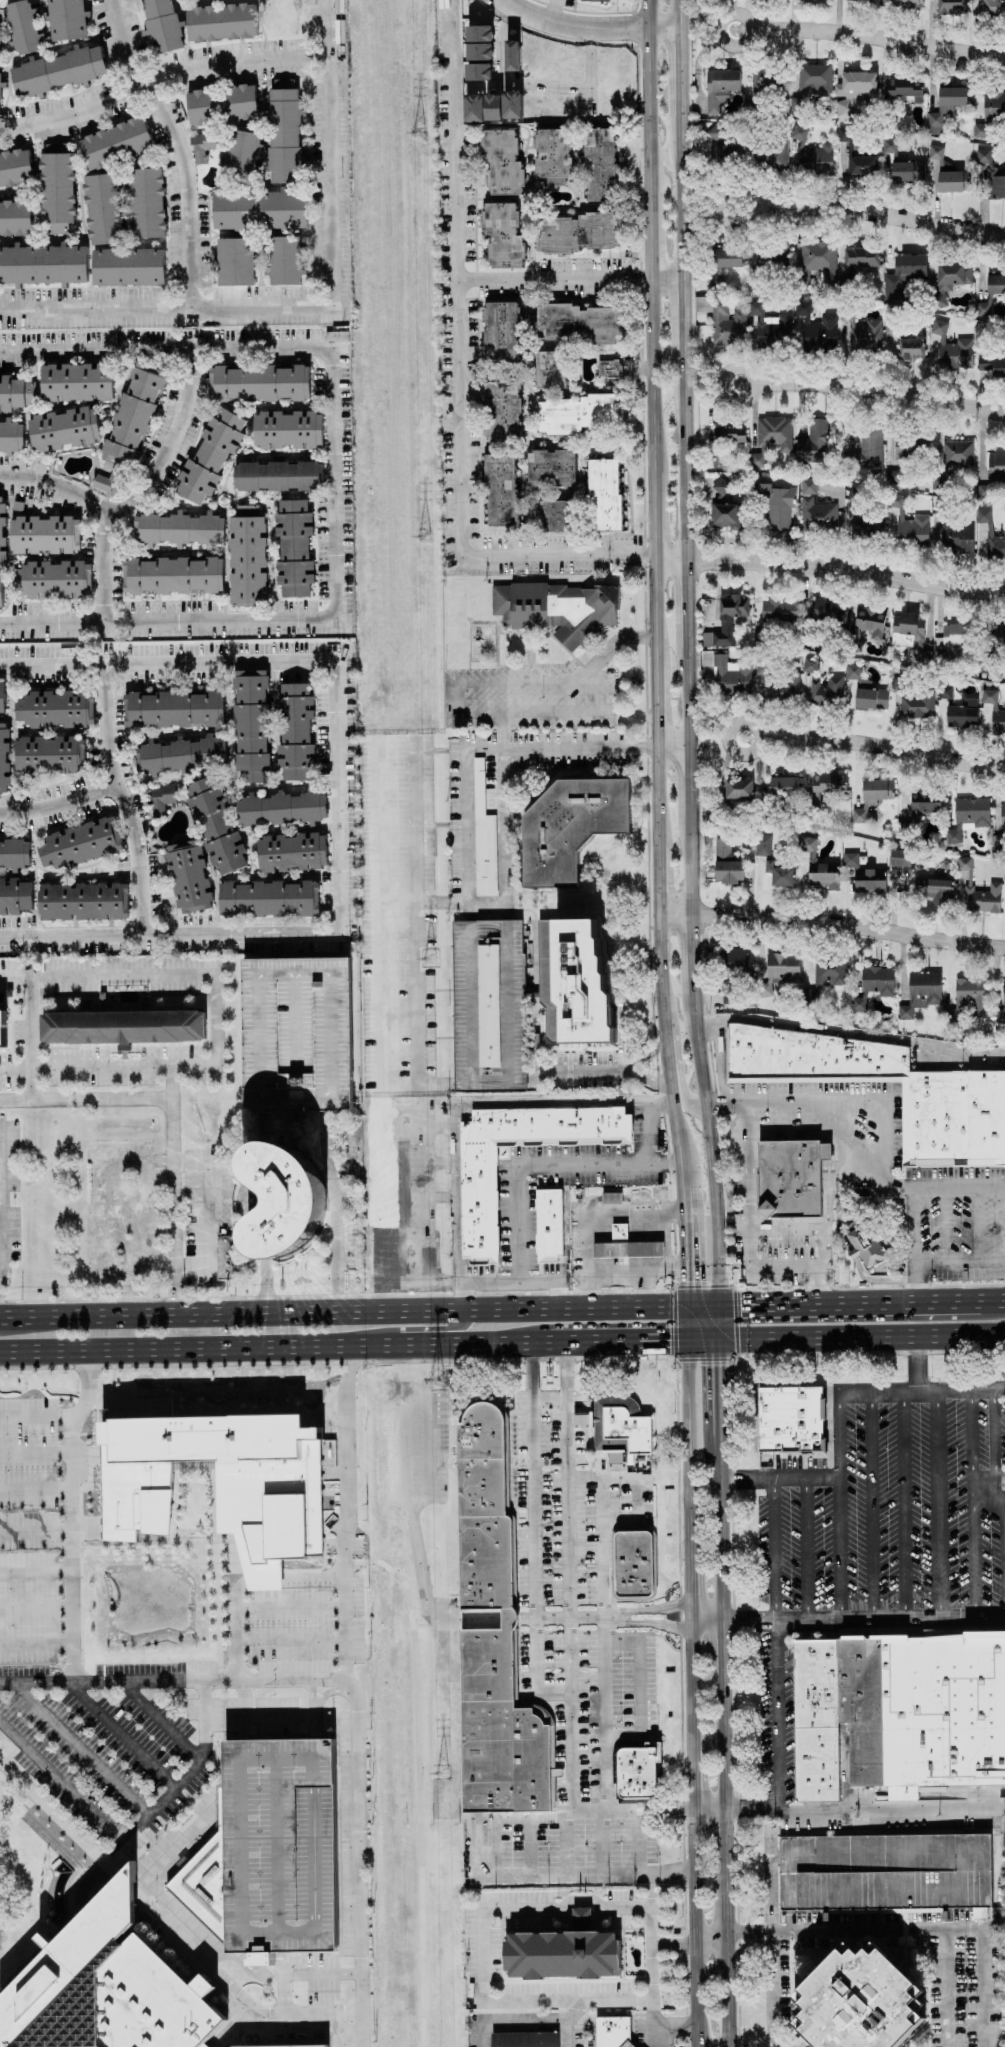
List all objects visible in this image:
building: (595, 0)
building: (862, 1)
building: (907, 3)
building: (952, 6)
building: (993, 9)
building: (66, 19)
building: (221, 22)
building: (162, 25)
building: (22, 27)
road: (588, 28)
road: (747, 28)
building: (479, 33)
road: (877, 37)
building: (480, 51)
building: (512, 55)
building: (58, 70)
building: (478, 71)
building: (0, 72)
road: (160, 78)
building: (767, 79)
building: (814, 79)
road: (532, 83)
building: (904, 87)
building: (719, 88)
building: (853, 90)
building: (221, 104)
building: (492, 106)
building: (946, 106)
building: (284, 132)
building: (798, 132)
power tower: (417, 134)
building: (842, 134)
building: (710, 137)
building: (116, 143)
building: (202, 145)
building: (888, 145)
road: (172, 147)
building: (552, 152)
building: (935, 152)
building: (240, 153)
building: (729, 153)
building: (770, 156)
building: (813, 159)
building: (501, 161)
building: (599, 164)
building: (863, 165)
building: (15, 169)
building: (907, 170)
building: (991, 175)
building: (952, 181)
building: (56, 188)
building: (147, 203)
road: (749, 205)
building: (103, 208)
building: (259, 209)
road: (878, 213)
building: (15, 217)
building: (578, 232)
building: (502, 235)
building: (772, 254)
building: (860, 256)
building: (727, 257)
building: (818, 258)
building: (285, 260)
building: (235, 261)
building: (42, 264)
building: (128, 267)
road: (554, 274)
building: (903, 275)
building: (950, 278)
building: (715, 282)
building: (995, 284)
road: (317, 304)
building: (982, 308)
building: (722, 320)
building: (577, 323)
building: (888, 326)
building: (769, 327)
building: (817, 330)
building: (501, 331)
building: (863, 334)
building: (911, 349)
road: (94, 351)
building: (998, 367)
building: (609, 368)
building: (550, 369)
road: (459, 375)
building: (77, 381)
building: (259, 382)
road: (753, 382)
road: (880, 391)
building: (16, 393)
building: (502, 410)
building: (580, 413)
building: (134, 414)
building: (63, 429)
building: (287, 429)
building: (729, 434)
building: (11, 436)
building: (771, 438)
building: (813, 441)
road: (167, 443)
building: (866, 448)
building: (957, 453)
building: (209, 456)
building: (996, 465)
building: (550, 467)
building: (277, 476)
building: (891, 477)
building: (108, 481)
building: (500, 489)
building: (604, 493)
building: (775, 504)
building: (820, 505)
road: (652, 509)
road: (103, 514)
building: (554, 515)
building: (725, 515)
building: (982, 515)
building: (872, 527)
building: (906, 527)
road: (331, 528)
building: (178, 529)
building: (2, 532)
building: (43, 533)
power tower: (424, 537)
building: (957, 537)
building: (995, 547)
building: (293, 548)
building: (247, 557)
road: (829, 568)
building: (172, 575)
building: (53, 579)
building: (1, 592)
building: (556, 609)
building: (826, 610)
building: (779, 611)
building: (726, 620)
building: (870, 621)
road: (52, 625)
building: (907, 629)
building: (1000, 634)
building: (952, 637)
road: (618, 638)
road: (685, 654)
building: (923, 655)
road: (52, 664)
building: (809, 665)
building: (852, 671)
building: (730, 674)
road: (583, 682)
road: (487, 683)
building: (781, 687)
building: (827, 691)
building: (2, 697)
building: (870, 698)
building: (917, 704)
building: (54, 709)
building: (173, 709)
building: (993, 711)
road: (630, 712)
road: (540, 713)
building: (962, 714)
building: (458, 720)
building: (250, 724)
building: (294, 732)
road: (379, 742)
road: (873, 743)
road: (597, 747)
road: (468, 749)
building: (50, 754)
building: (179, 755)
building: (4, 757)
building: (828, 782)
building: (783, 786)
building: (737, 789)
building: (877, 789)
road: (123, 799)
building: (160, 799)
road: (60, 802)
building: (923, 803)
building: (280, 808)
building: (858, 815)
building: (1002, 815)
building: (967, 817)
building: (215, 824)
building: (569, 827)
building: (483, 837)
building: (80, 843)
building: (807, 844)
building: (763, 847)
road: (337, 851)
building: (291, 852)
building: (14, 853)
building: (900, 857)
building: (850, 859)
building: (726, 862)
building: (963, 863)
building: (823, 875)
building: (188, 876)
building: (869, 880)
building: (934, 889)
building: (15, 895)
building: (268, 898)
building: (982, 898)
building: (83, 901)
road: (443, 905)
road: (831, 923)
power tower: (428, 959)
building: (738, 960)
building: (780, 970)
building: (829, 973)
road: (14, 978)
building: (877, 980)
building: (573, 982)
building: (920, 992)
building: (970, 994)
building: (858, 1003)
building: (488, 1005)
building: (999, 1014)
building: (2, 1027)
building: (122, 1027)
road: (850, 1033)
road: (216, 1034)
building: (296, 1034)
road: (29, 1038)
road: (666, 1042)
building: (805, 1057)
road: (598, 1071)
road: (173, 1081)
road: (469, 1085)
road: (682, 1090)
road: (134, 1098)
road: (290, 1100)
road: (832, 1103)
road: (456, 1108)
building: (953, 1118)
road: (418, 1126)
road: (674, 1126)
road: (117, 1155)
road: (184, 1161)
road: (420, 1162)
road: (668, 1162)
road: (0, 1163)
road: (536, 1163)
building: (788, 1176)
road: (944, 1186)
building: (296, 1195)
road: (421, 1198)
building: (610, 1198)
road: (388, 1201)
building: (478, 1201)
road: (682, 1206)
road: (145, 1222)
building: (549, 1224)
road: (590, 1225)
road: (759, 1231)
road: (96, 1237)
road: (643, 1243)
building: (625, 1245)
building: (866, 1245)
road: (915, 1246)
building: (223, 1257)
road: (960, 1260)
road: (664, 1271)
road: (599, 1273)
traffic signals: (686, 1280)
road: (686, 1282)
road: (525, 1294)
road: (130, 1296)
road: (987, 1303)
road: (843, 1306)
road: (701, 1308)
traffic signals: (739, 1308)
road: (342, 1314)
road: (716, 1322)
road: (436, 1328)
road: (860, 1335)
road: (701, 1337)
road: (622, 1338)
traffic signals: (668, 1338)
road: (279, 1345)
road: (918, 1364)
traffic signals: (717, 1365)
road: (567, 1370)
road: (528, 1372)
power tower: (437, 1382)
road: (717, 1385)
road: (549, 1393)
road: (921, 1393)
road: (38, 1418)
building: (582, 1419)
building: (790, 1419)
building: (619, 1425)
road: (989, 1431)
road: (687, 1432)
road: (836, 1437)
road: (34, 1451)
road: (987, 1472)
building: (216, 1479)
road: (776, 1480)
road: (987, 1480)
road: (635, 1484)
road: (991, 1487)
road: (34, 1489)
road: (987, 1503)
road: (971, 1504)
road: (903, 1505)
road: (937, 1505)
road: (870, 1506)
road: (718, 1526)
road: (35, 1532)
road: (70, 1532)
road: (605, 1532)
road: (689, 1538)
road: (344, 1544)
road: (774, 1550)
road: (805, 1550)
road: (837, 1550)
building: (633, 1563)
road: (536, 1566)
road: (35, 1570)
road: (313, 1576)
road: (262, 1578)
road: (689, 1578)
road: (236, 1592)
road: (35, 1607)
road: (648, 1609)
road: (575, 1612)
road: (720, 1617)
road: (573, 1618)
road: (889, 1618)
road: (747, 1621)
road: (345, 1622)
road: (648, 1624)
building: (490, 1635)
road: (291, 1639)
road: (721, 1645)
road: (345, 1658)
road: (237, 1659)
road: (71, 1664)
road: (690, 1675)
road: (351, 1690)
building: (897, 1709)
road: (776, 1714)
road: (159, 1720)
road: (124, 1733)
road: (722, 1740)
road: (453, 1744)
road: (76, 1750)
building: (638, 1771)
power tower: (438, 1773)
road: (692, 1776)
road: (891, 1806)
road: (682, 1807)
road: (750, 1807)
road: (50, 1811)
road: (582, 1820)
road: (129, 1833)
road: (723, 1837)
road: (642, 1842)
building: (279, 1845)
parking lot: (279, 1845)
road: (110, 1853)
road: (110, 1870)
building: (884, 1872)
parking garage: (884, 1872)
road: (650, 1877)
road: (127, 1887)
road: (651, 1891)
road: (495, 1908)
building: (978, 1912)
building: (581, 1919)
road: (692, 1927)
road: (823, 1929)
road: (771, 1938)
building: (563, 1956)
road: (197, 1957)
road: (722, 1957)
road: (320, 1974)
building: (107, 1988)
road: (945, 1988)
road: (282, 1994)
building: (858, 2002)
road: (310, 2013)
road: (551, 2019)
road: (738, 2026)
building: (613, 2031)
road: (489, 2033)
road: (572, 2033)
building: (525, 2039)
building: (281, 2046)

